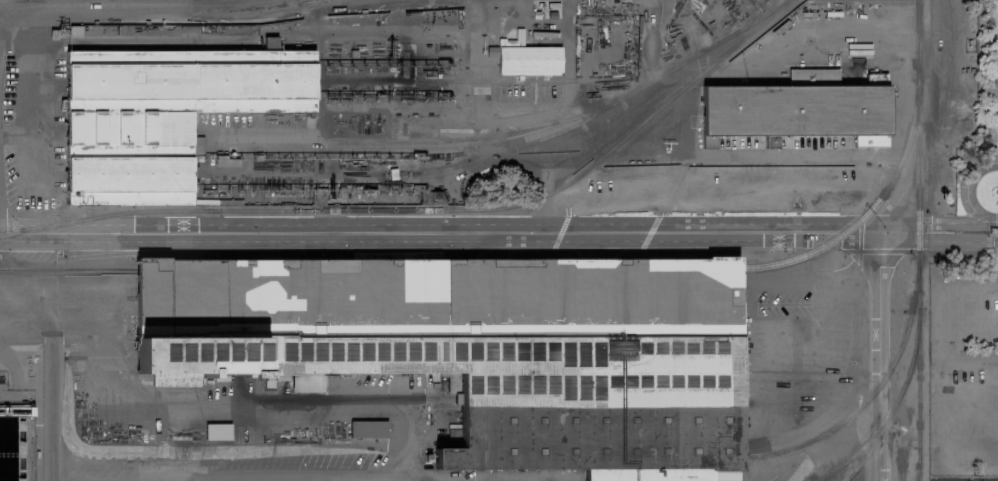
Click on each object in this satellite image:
road: (153, 8)
road: (0, 30)
building: (526, 59)
building: (795, 108)
road: (387, 112)
building: (162, 114)
railway: (462, 135)
railway: (537, 139)
railway: (475, 142)
railway: (428, 212)
road: (996, 221)
road: (537, 225)
building: (992, 228)
road: (40, 231)
road: (881, 233)
road: (538, 240)
railway: (917, 240)
railway: (514, 269)
building: (484, 347)
building: (9, 359)
road: (54, 363)
railway: (861, 405)
railway: (892, 408)
building: (366, 428)
road: (404, 428)
building: (216, 431)
railway: (916, 464)
railway: (834, 471)

